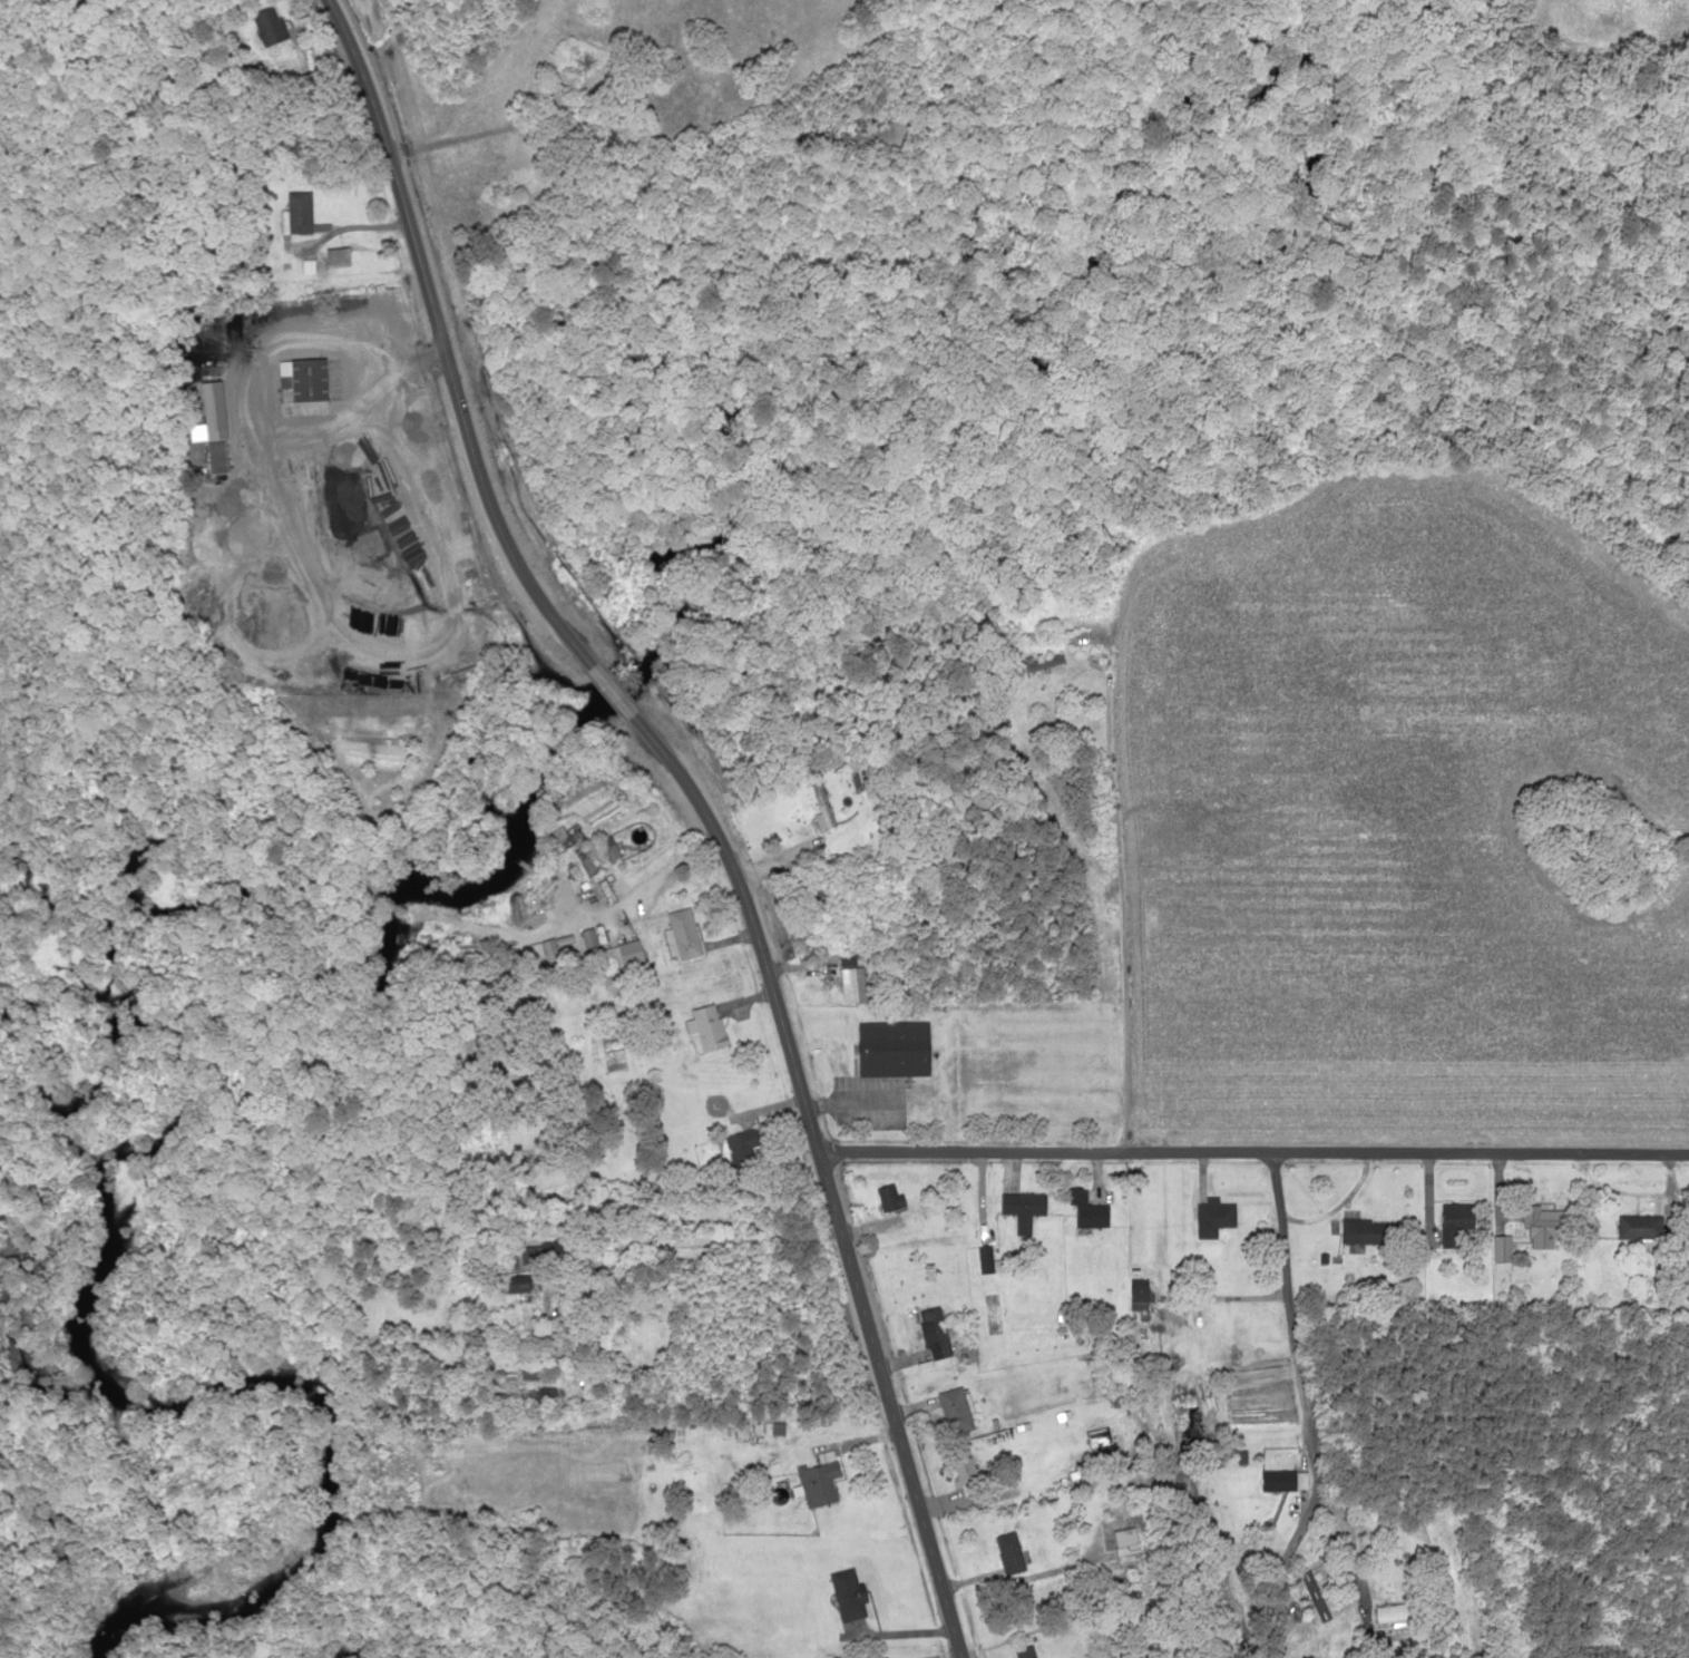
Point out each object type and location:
crop: (1628, 16)
building: (267, 26)
crop: (569, 78)
building: (296, 212)
building: (336, 256)
building: (309, 380)
building: (216, 456)
building: (1041, 664)
building: (853, 777)
road: (699, 800)
building: (821, 803)
crop: (1394, 803)
building: (609, 851)
road: (1107, 886)
building: (821, 905)
building: (683, 934)
building: (629, 952)
building: (853, 984)
building: (707, 1027)
building: (892, 1049)
road: (967, 1145)
road: (1403, 1145)
building: (740, 1153)
building: (889, 1198)
building: (1027, 1205)
building: (1091, 1215)
building: (1228, 1216)
building: (1459, 1219)
building: (1208, 1222)
building: (1546, 1225)
building: (1363, 1229)
building: (1643, 1229)
building: (555, 1251)
building: (1502, 1252)
building: (519, 1285)
building: (1136, 1295)
building: (935, 1332)
building: (544, 1397)
road: (1304, 1402)
building: (953, 1408)
building: (636, 1435)
building: (1101, 1435)
building: (965, 1475)
building: (1276, 1480)
building: (817, 1483)
building: (1122, 1542)
building: (1442, 1550)
building: (1007, 1552)
building: (1311, 1593)
building: (844, 1594)
building: (1393, 1607)
building: (1021, 1651)
building: (829, 1657)

